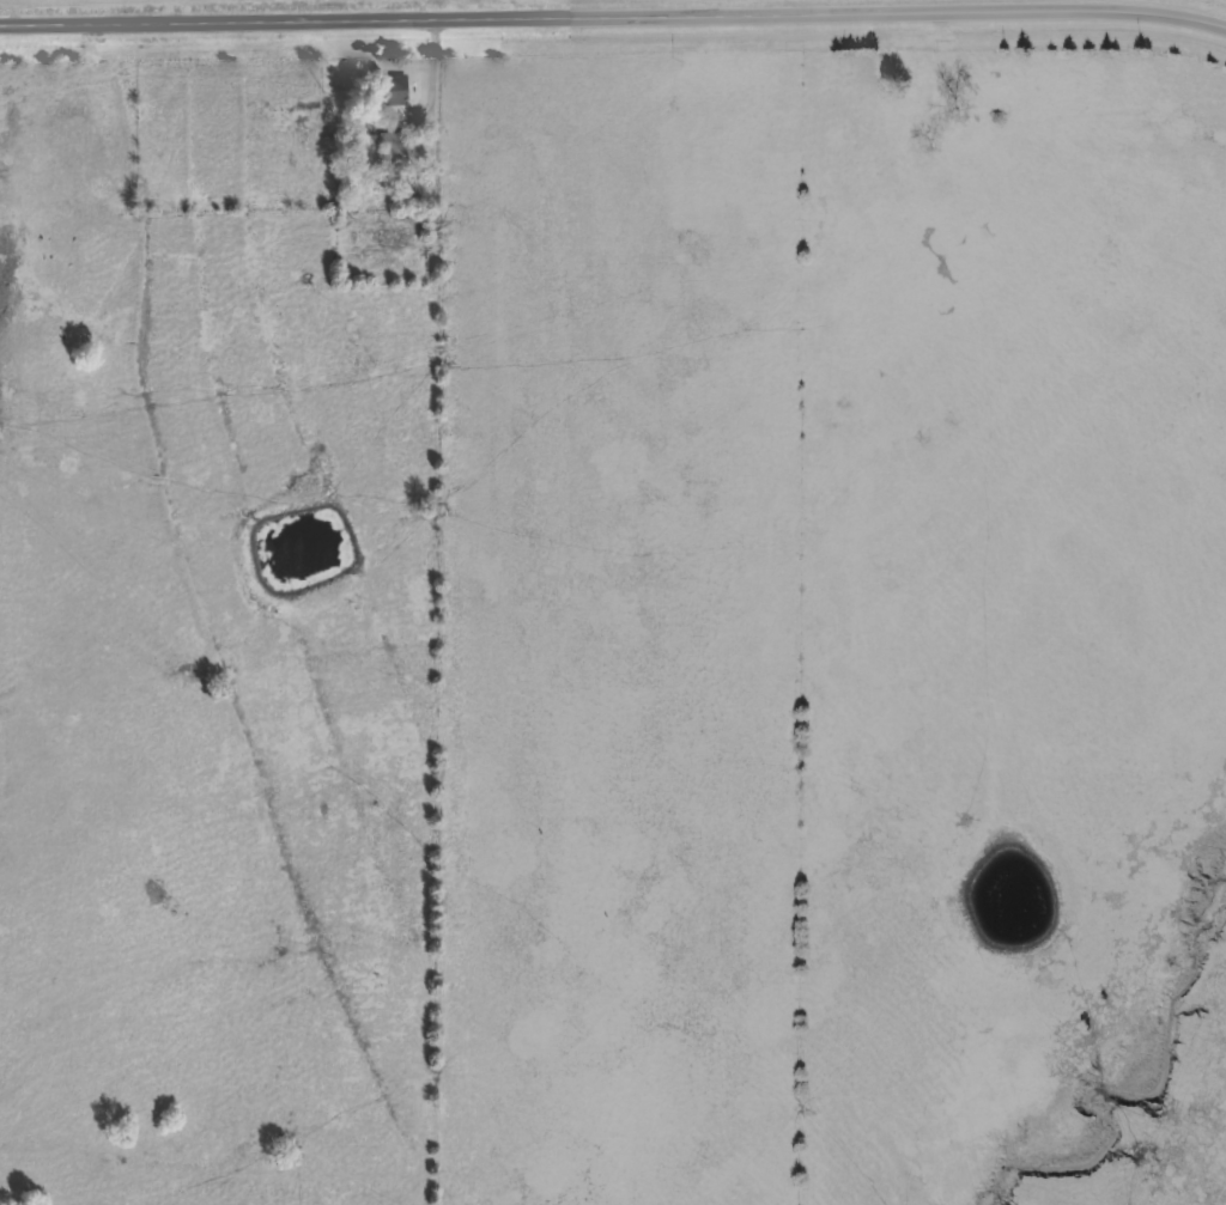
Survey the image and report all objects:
road: (1179, 6)
road: (479, 10)
building: (994, 79)
building: (399, 95)
building: (395, 156)

